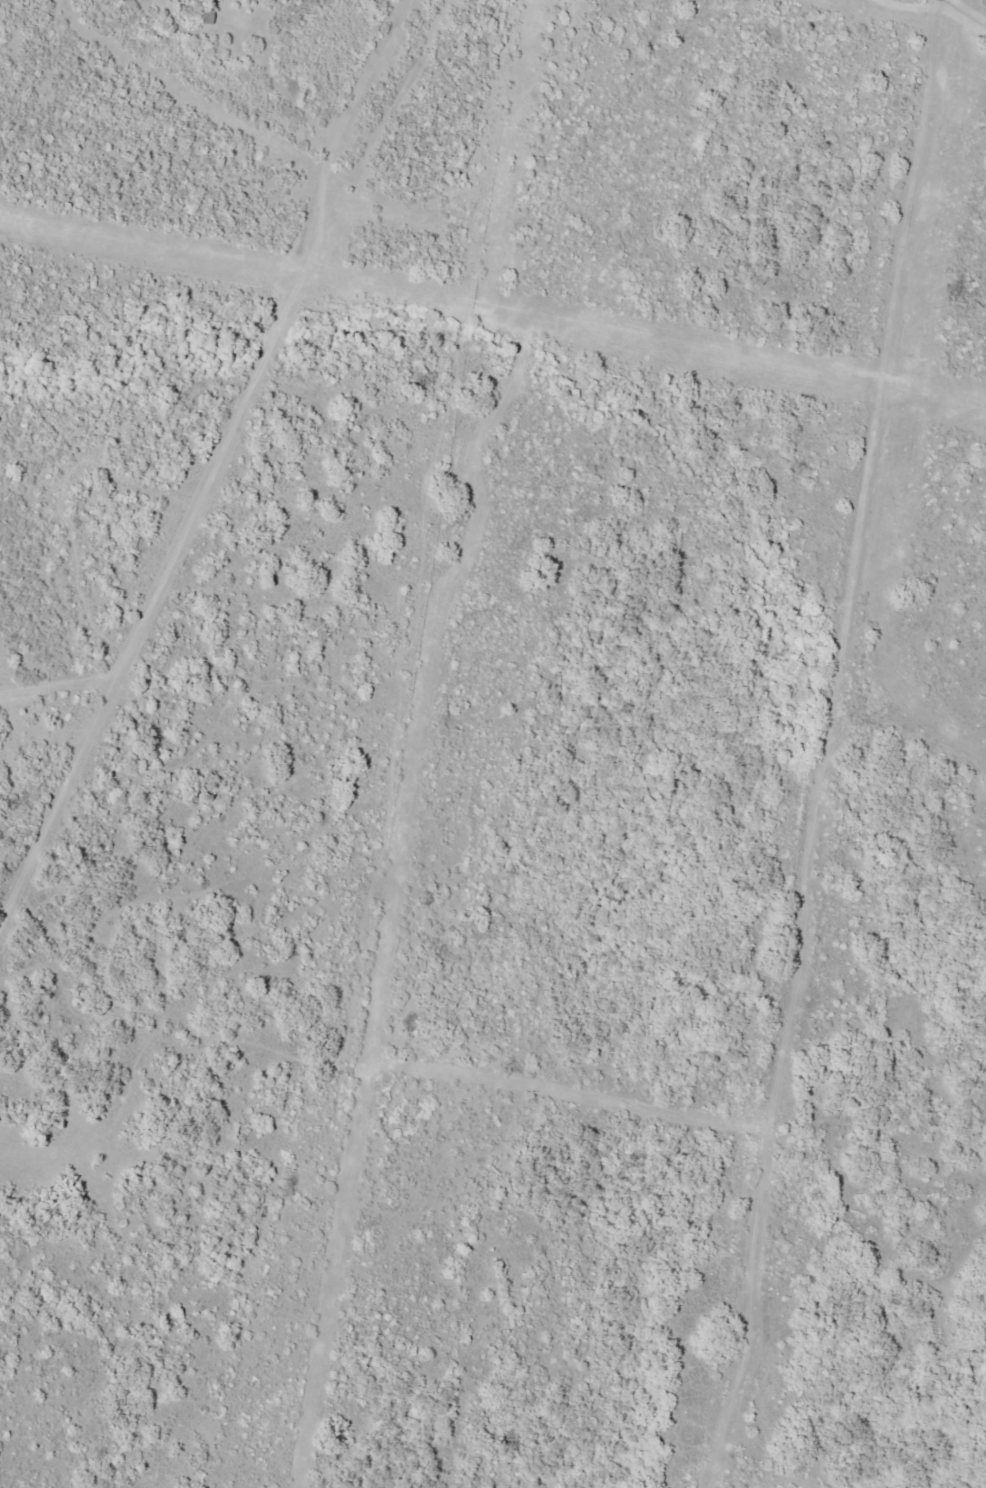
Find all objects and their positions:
building: (208, 16)
road: (229, 491)

